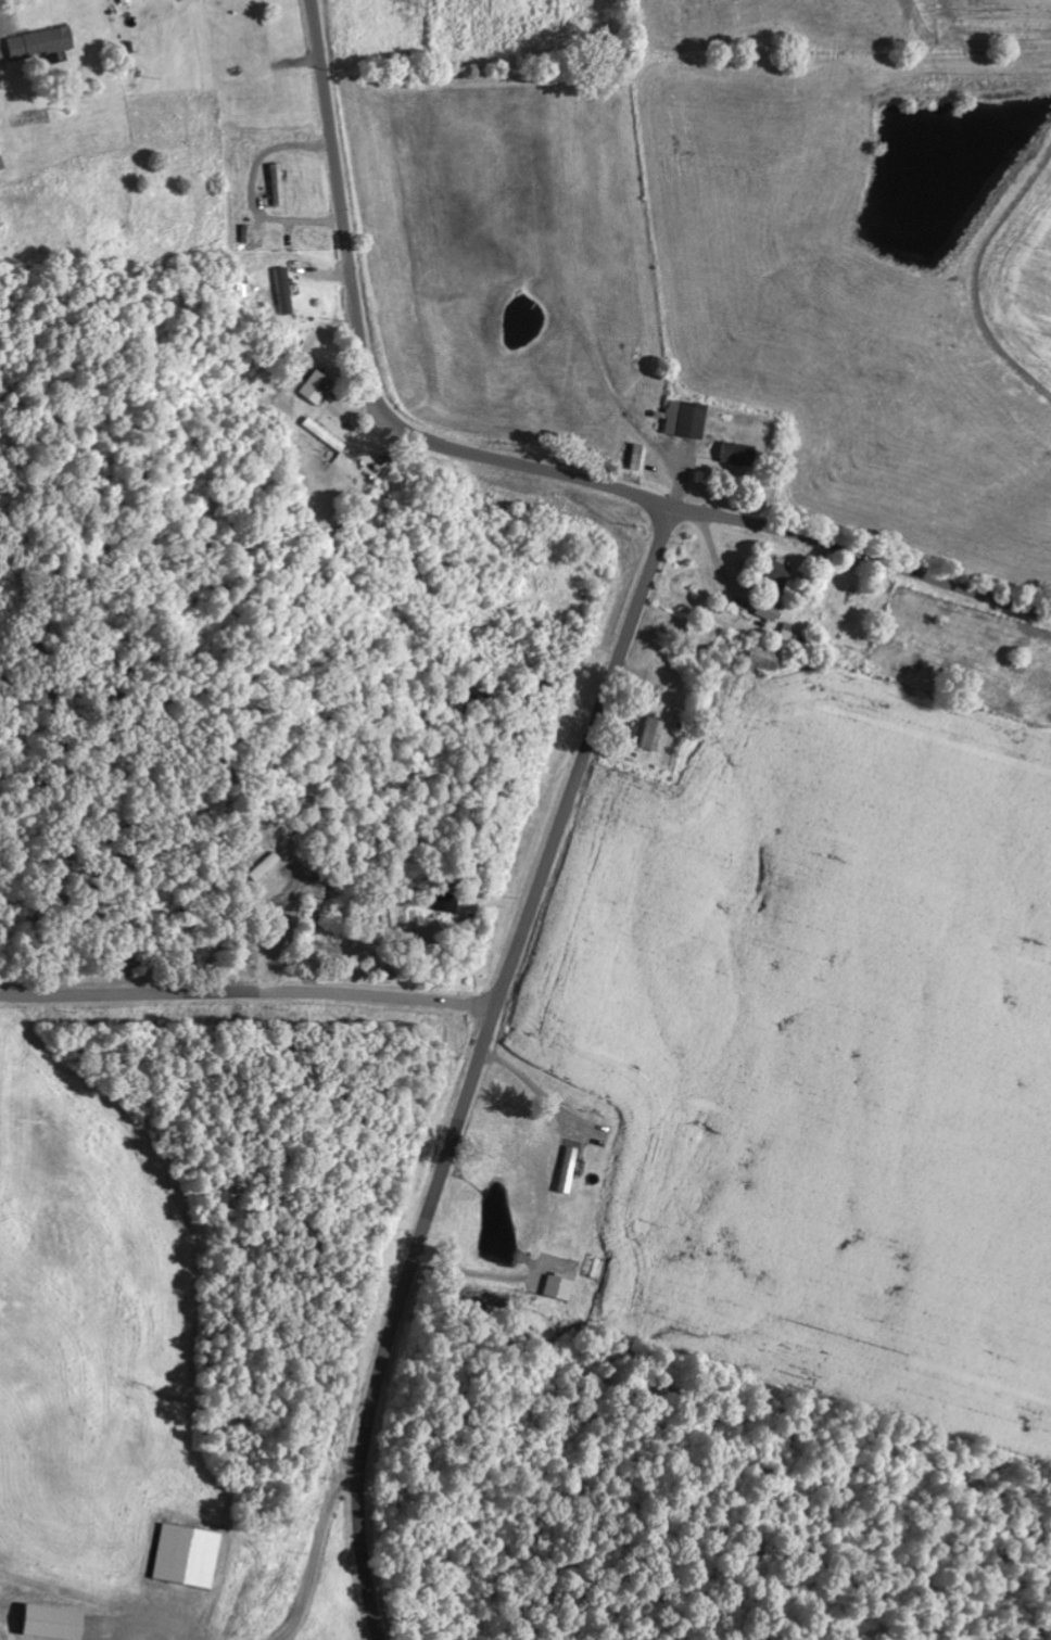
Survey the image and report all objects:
building: (38, 42)
building: (1, 174)
building: (282, 291)
building: (683, 418)
building: (321, 433)
building: (734, 453)
road: (514, 462)
building: (773, 573)
building: (765, 608)
building: (759, 657)
building: (643, 733)
road: (218, 828)
building: (442, 901)
road: (249, 988)
road: (476, 1065)
building: (565, 1169)
building: (555, 1287)
building: (183, 1555)
building: (48, 1623)

